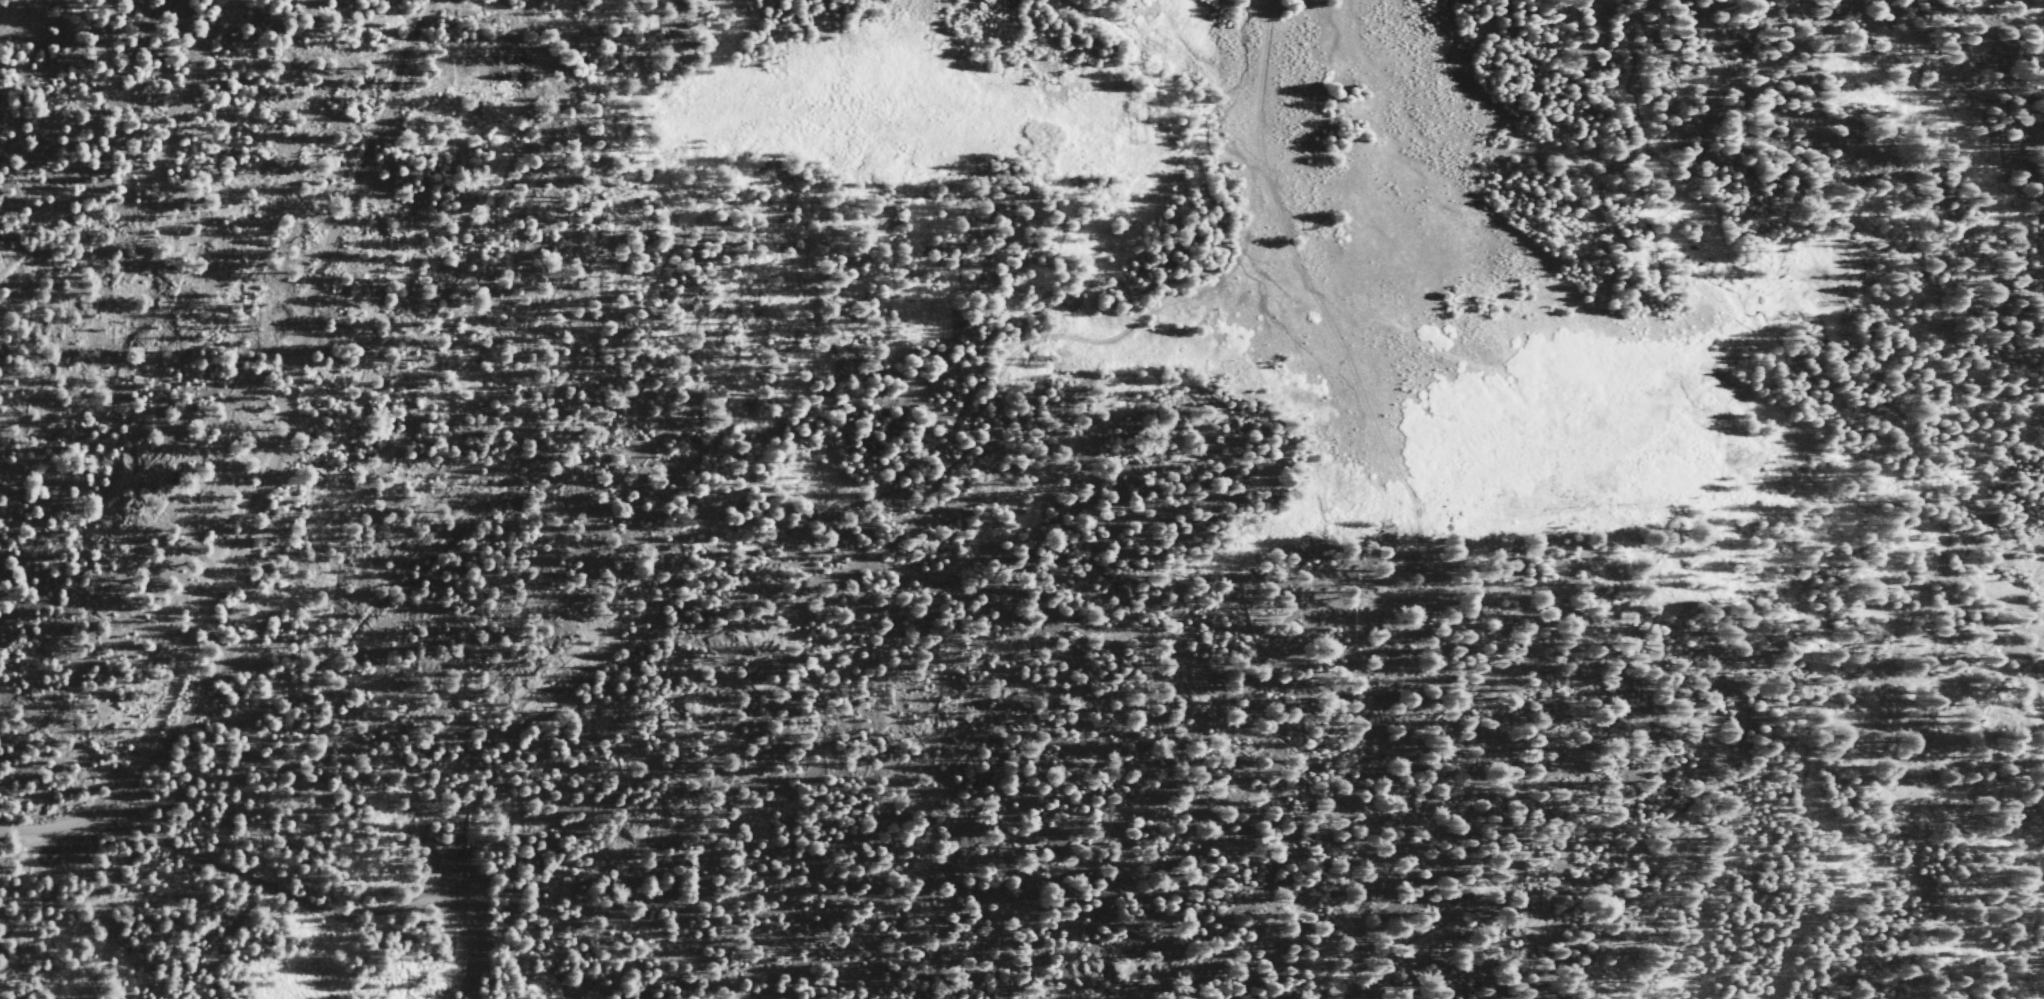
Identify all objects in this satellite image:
road: (1812, 351)
road: (271, 462)
road: (2024, 872)

